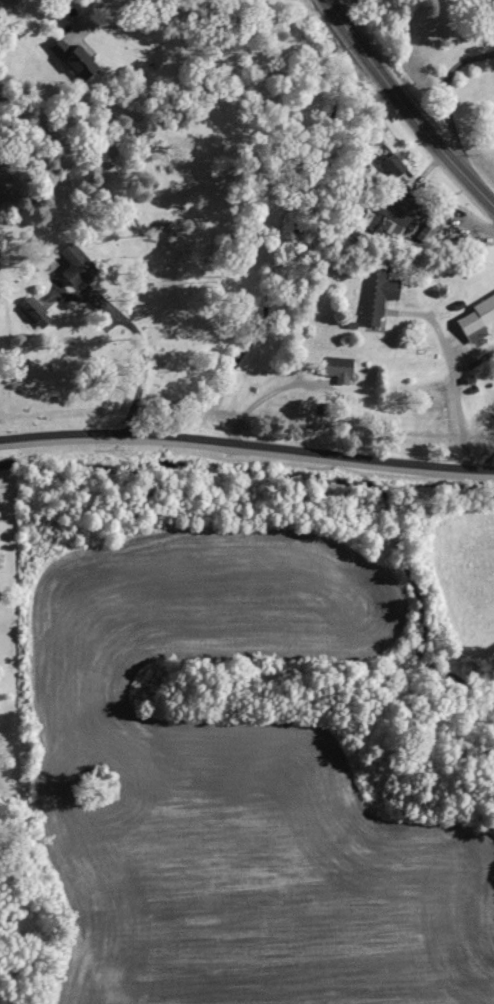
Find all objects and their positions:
building: (485, 1)
road: (136, 23)
road: (476, 103)
road: (408, 104)
building: (397, 165)
building: (401, 209)
building: (378, 223)
building: (79, 264)
building: (378, 296)
building: (36, 314)
building: (478, 319)
building: (307, 408)
road: (247, 447)

